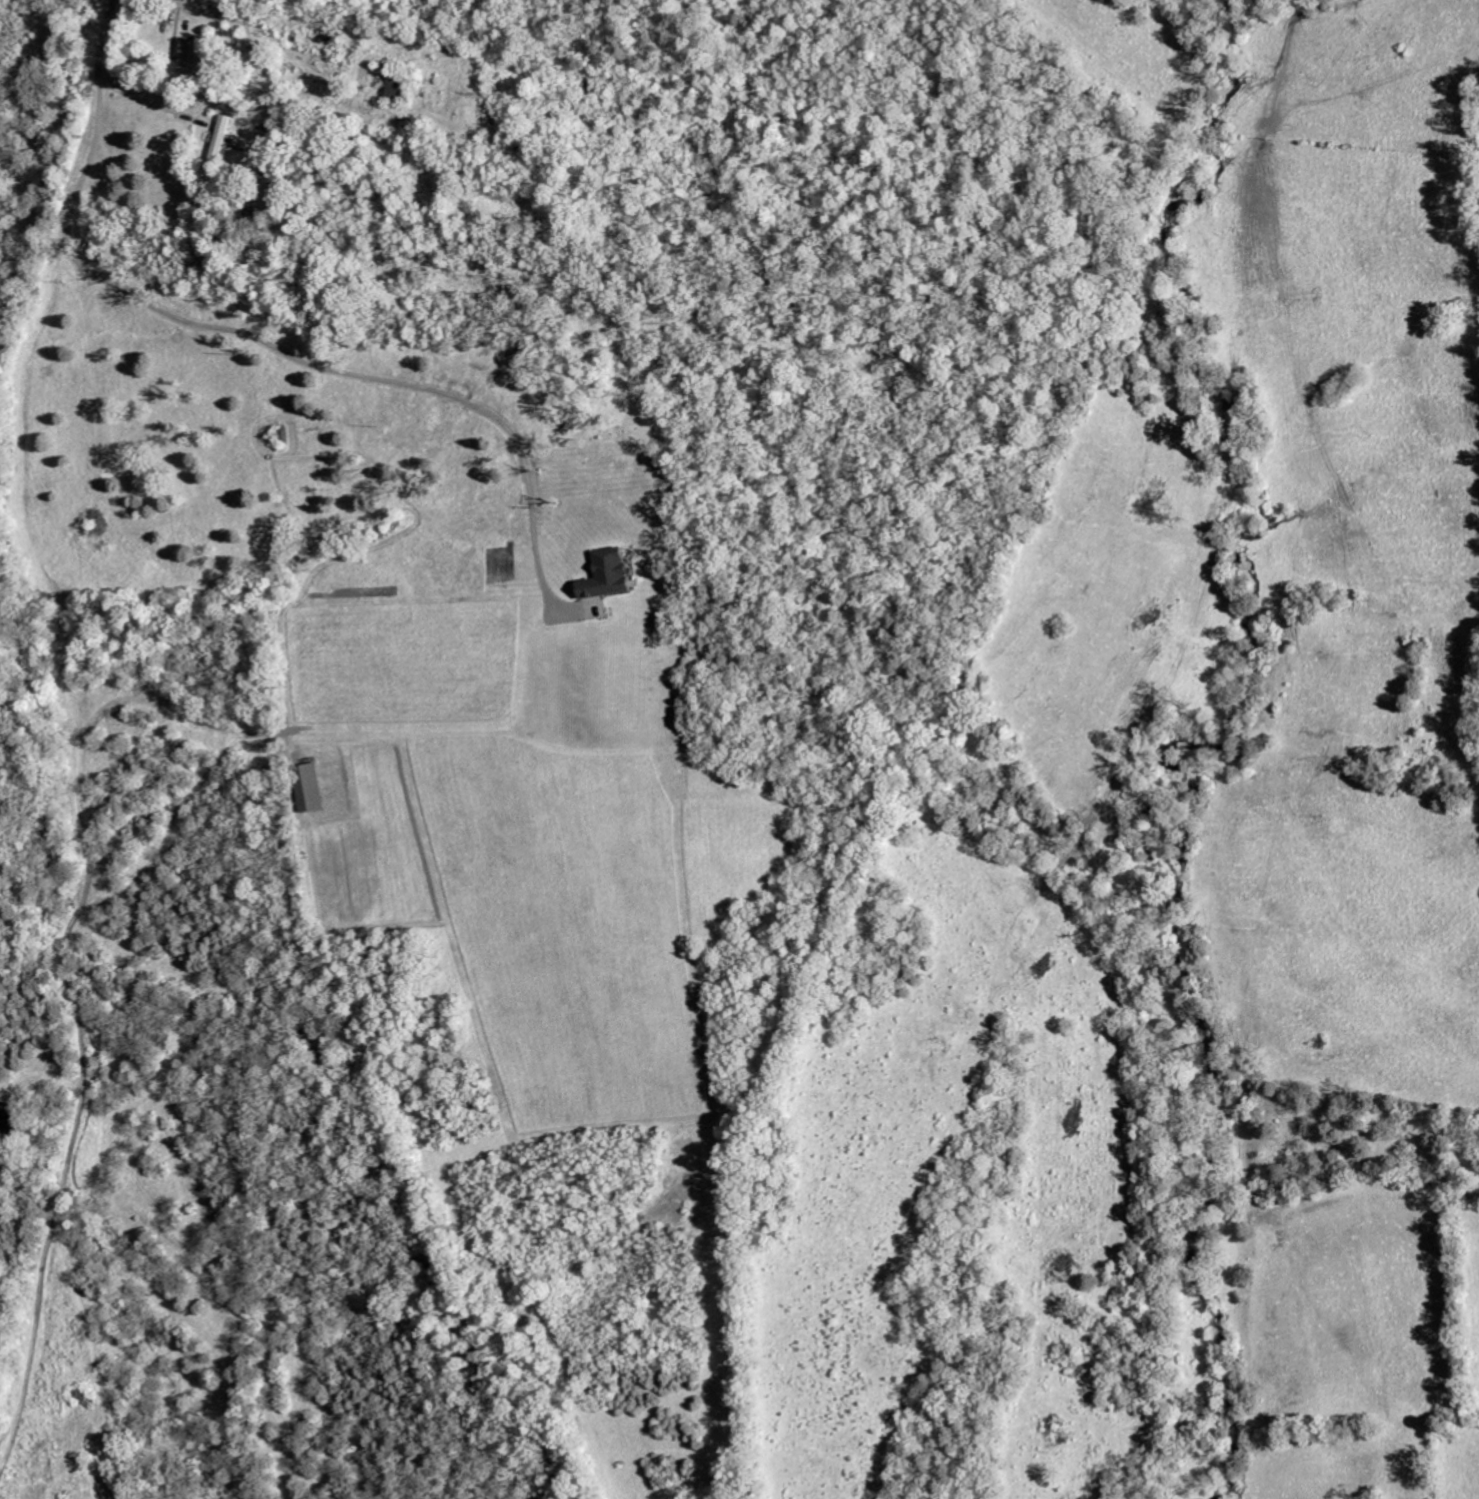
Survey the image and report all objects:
building: (190, 56)
road: (149, 103)
building: (220, 136)
road: (242, 337)
building: (611, 575)
building: (316, 788)

